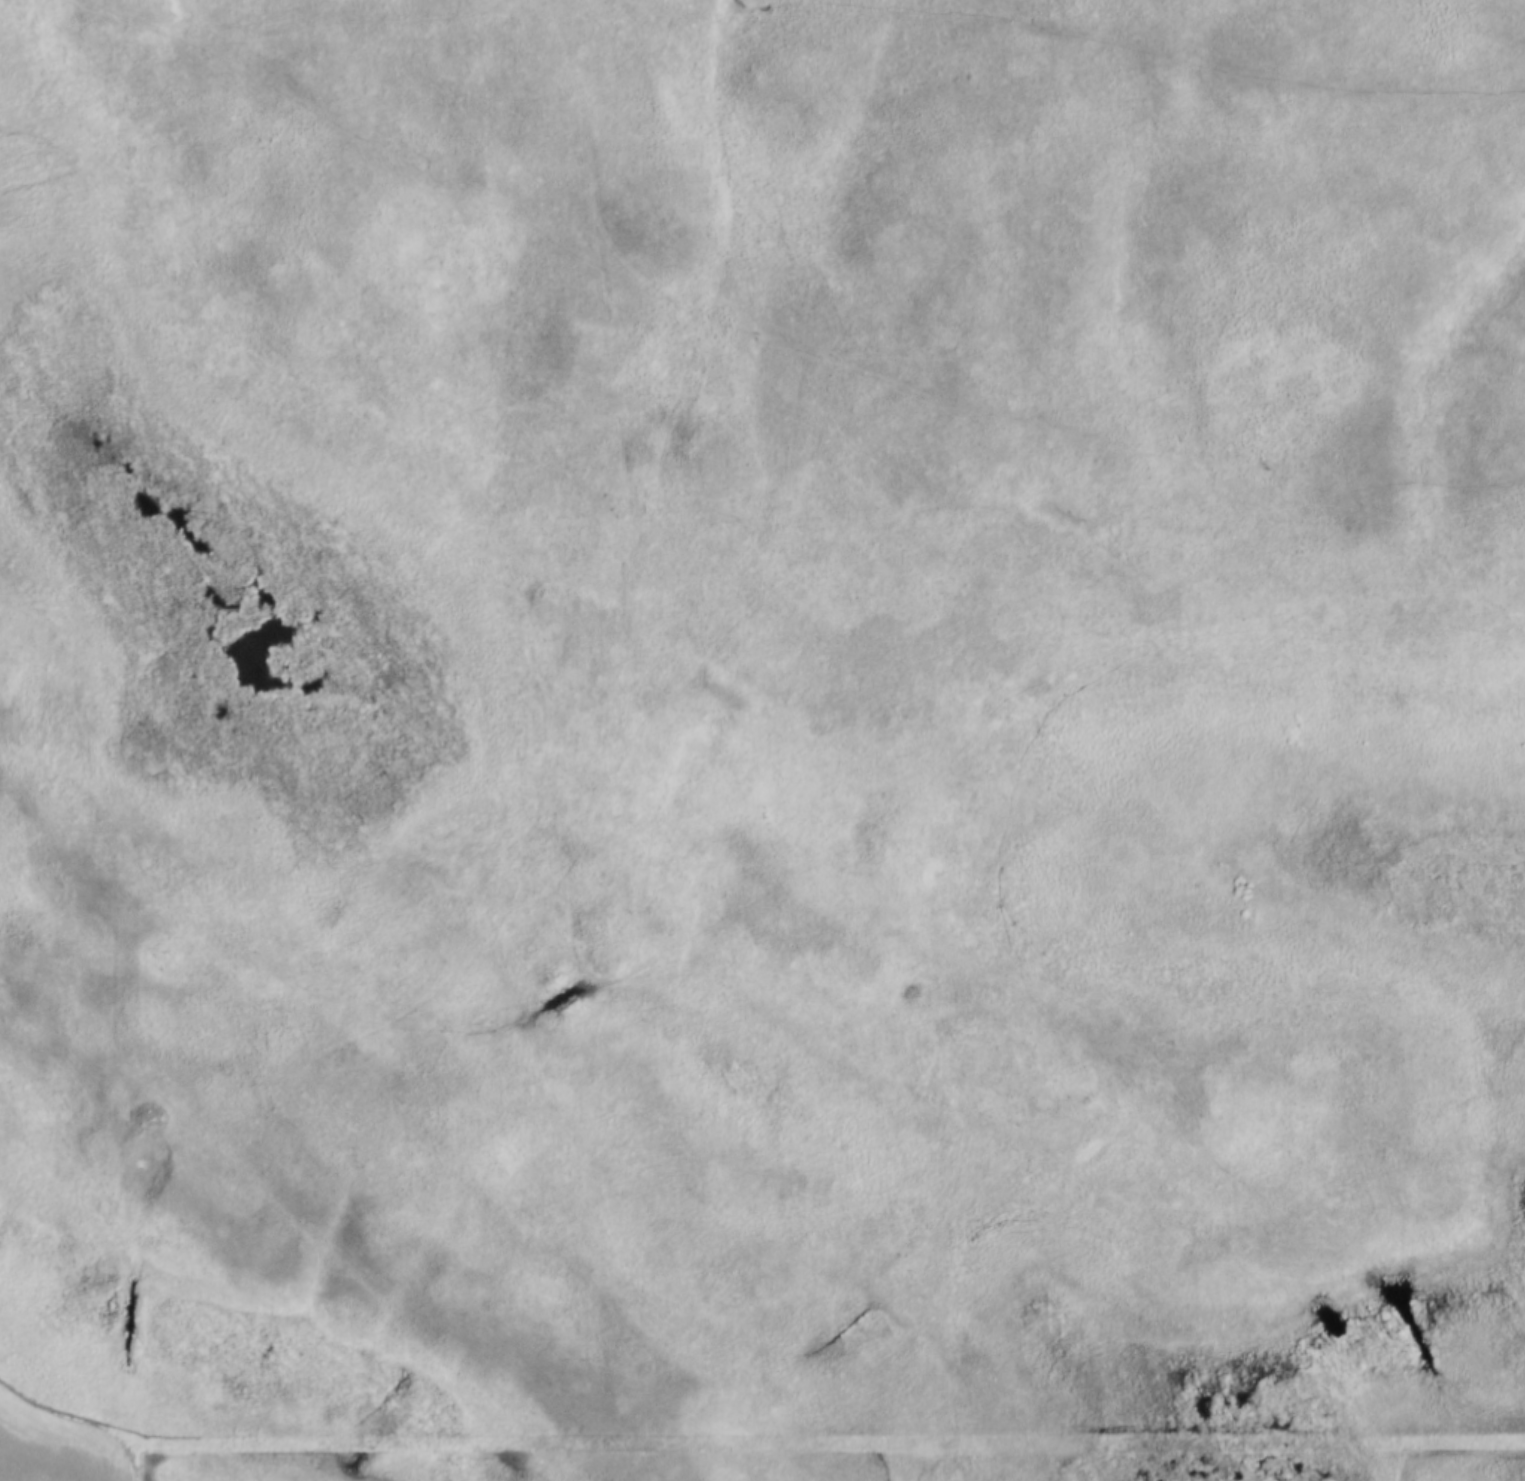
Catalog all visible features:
crop: (51, 1437)

